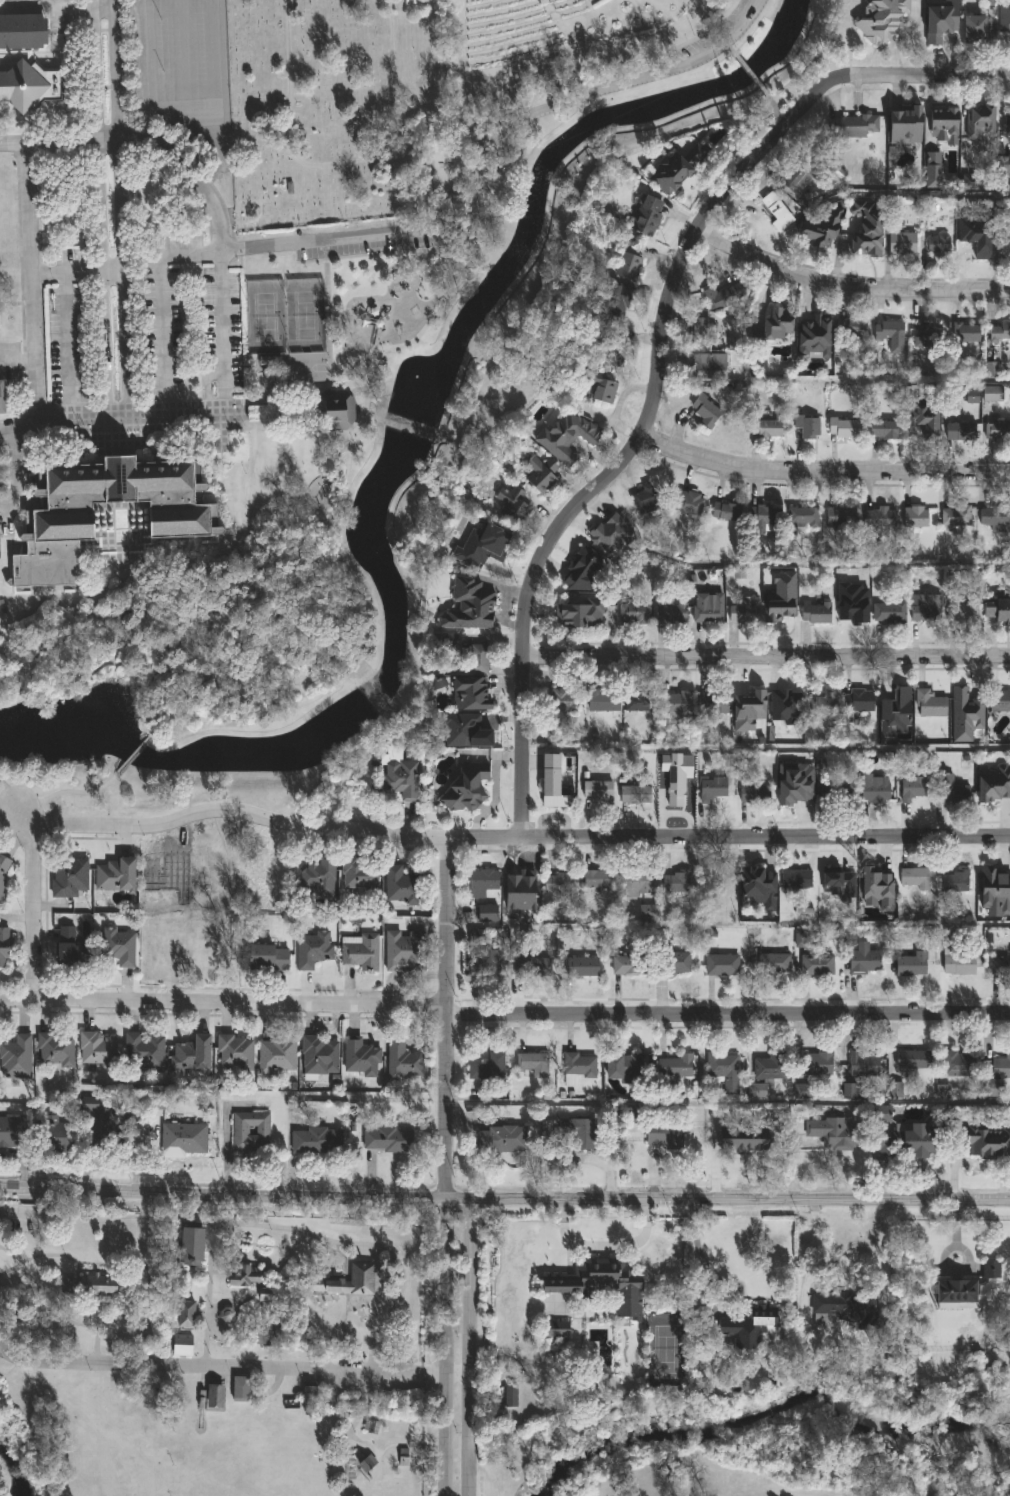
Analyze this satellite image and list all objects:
parking lot: (41, 3)
road: (62, 3)
road: (148, 4)
road: (45, 7)
road: (130, 9)
building: (882, 18)
building: (939, 19)
building: (1004, 19)
building: (976, 28)
building: (23, 31)
parking lot: (713, 33)
street lamp: (696, 41)
street lamp: (731, 42)
road: (728, 49)
road: (184, 56)
street lamp: (671, 63)
street lamp: (649, 66)
road: (93, 69)
road: (115, 69)
parking lot: (178, 70)
road: (747, 73)
building: (29, 85)
road: (549, 85)
road: (762, 92)
road: (770, 101)
park: (333, 107)
street lamp: (785, 112)
road: (779, 114)
park: (466, 119)
building: (979, 121)
street lamp: (776, 122)
building: (905, 124)
building: (943, 124)
building: (1006, 124)
building: (854, 126)
road: (194, 130)
road: (156, 142)
road: (12, 144)
road: (485, 152)
road: (728, 157)
parking lot: (476, 165)
building: (679, 165)
building: (1003, 165)
building: (931, 169)
park: (442, 170)
building: (797, 172)
street lamp: (494, 182)
building: (773, 205)
building: (644, 213)
building: (976, 226)
building: (821, 228)
building: (866, 230)
building: (901, 243)
building: (937, 244)
building: (1002, 244)
parking lot: (361, 250)
street lamp: (473, 256)
building: (627, 260)
road: (76, 272)
road: (102, 274)
road: (123, 276)
street lamp: (913, 281)
road: (845, 282)
building: (722, 295)
road: (32, 299)
road: (161, 299)
park: (304, 316)
park: (264, 317)
street lamp: (437, 319)
parking lot: (180, 321)
road: (220, 325)
building: (773, 325)
building: (849, 327)
road: (329, 329)
building: (887, 329)
building: (700, 332)
building: (999, 332)
building: (927, 333)
building: (965, 333)
building: (612, 334)
building: (813, 336)
street lamp: (344, 341)
road: (69, 342)
parking lot: (69, 346)
street lamp: (391, 353)
road: (657, 358)
parking lot: (13, 359)
road: (17, 362)
building: (704, 366)
park: (366, 367)
park: (292, 372)
fountain: (420, 382)
building: (596, 388)
building: (276, 390)
street lamp: (102, 393)
building: (991, 393)
building: (2, 397)
road: (198, 409)
building: (703, 410)
road: (145, 411)
road: (79, 412)
building: (328, 414)
building: (924, 418)
road: (375, 421)
street lamp: (245, 423)
street lamp: (183, 425)
street lamp: (225, 425)
street lamp: (152, 426)
street lamp: (166, 427)
building: (807, 427)
street lamp: (52, 428)
street lamp: (61, 428)
street lamp: (135, 428)
building: (765, 428)
building: (842, 428)
street lamp: (70, 429)
street lamp: (101, 429)
building: (882, 429)
building: (959, 430)
building: (997, 430)
road: (299, 431)
street lamp: (110, 432)
street lamp: (124, 432)
road: (228, 435)
street lamp: (246, 435)
building: (565, 435)
street lamp: (225, 448)
street lamp: (358, 448)
street lamp: (780, 454)
street lamp: (340, 457)
flagpole: (93, 460)
road: (820, 471)
road: (19, 473)
building: (538, 475)
parking lot: (17, 478)
street lamp: (970, 488)
building: (647, 497)
building: (688, 502)
building: (511, 504)
road: (146, 507)
building: (723, 511)
building: (915, 516)
building: (954, 516)
building: (802, 517)
building: (840, 517)
building: (879, 517)
building: (763, 518)
building: (994, 518)
building: (180, 519)
building: (609, 532)
building: (481, 540)
building: (498, 551)
road: (240, 565)
building: (590, 570)
road: (112, 584)
building: (780, 597)
building: (468, 606)
building: (706, 608)
building: (924, 608)
building: (853, 609)
building: (668, 610)
building: (743, 610)
building: (997, 610)
building: (814, 611)
building: (961, 611)
building: (888, 612)
building: (578, 613)
building: (632, 613)
road: (287, 644)
road: (350, 654)
road: (764, 656)
building: (478, 658)
building: (471, 694)
building: (639, 699)
building: (602, 700)
building: (561, 701)
building: (782, 701)
building: (858, 701)
building: (999, 701)
building: (712, 702)
building: (677, 703)
building: (820, 703)
building: (928, 704)
building: (749, 705)
building: (894, 711)
building: (966, 714)
road: (167, 722)
building: (470, 729)
road: (135, 753)
building: (675, 773)
building: (401, 775)
building: (551, 778)
building: (794, 779)
building: (994, 784)
building: (466, 787)
building: (710, 788)
building: (874, 788)
road: (495, 789)
building: (913, 789)
building: (950, 790)
road: (68, 791)
building: (596, 791)
building: (834, 791)
building: (634, 794)
building: (754, 794)
road: (675, 814)
road: (261, 817)
road: (88, 824)
road: (681, 837)
street lamp: (134, 839)
street lamp: (20, 848)
building: (3, 872)
building: (113, 874)
building: (358, 874)
building: (318, 877)
building: (68, 878)
building: (912, 878)
building: (518, 879)
building: (596, 879)
building: (795, 879)
building: (833, 879)
building: (717, 881)
building: (952, 881)
building: (674, 882)
building: (481, 883)
building: (556, 883)
building: (636, 883)
building: (400, 886)
building: (759, 886)
building: (876, 889)
building: (994, 890)
road: (32, 911)
building: (486, 913)
road: (442, 921)
building: (66, 946)
building: (117, 947)
building: (3, 948)
building: (402, 949)
building: (311, 950)
building: (358, 951)
building: (201, 954)
building: (267, 958)
building: (863, 959)
building: (483, 962)
building: (670, 963)
building: (772, 964)
building: (957, 964)
building: (627, 965)
building: (911, 965)
building: (1000, 965)
building: (529, 966)
building: (720, 966)
building: (816, 966)
building: (579, 968)
road: (220, 1002)
road: (724, 1017)
building: (96, 1049)
building: (55, 1050)
building: (143, 1051)
building: (234, 1051)
building: (191, 1053)
building: (275, 1054)
building: (318, 1055)
building: (359, 1057)
building: (15, 1058)
building: (912, 1060)
building: (402, 1061)
building: (816, 1064)
building: (862, 1064)
building: (957, 1064)
building: (531, 1065)
building: (769, 1066)
building: (486, 1067)
building: (576, 1067)
building: (623, 1067)
building: (675, 1067)
building: (723, 1070)
building: (998, 1074)
road: (443, 1102)
building: (632, 1124)
building: (110, 1129)
building: (576, 1129)
building: (249, 1130)
building: (174, 1131)
building: (12, 1132)
building: (742, 1132)
building: (834, 1133)
building: (663, 1134)
building: (987, 1135)
building: (58, 1136)
building: (498, 1139)
building: (315, 1140)
building: (386, 1140)
building: (907, 1141)
road: (222, 1193)
road: (727, 1198)
parking lot: (21, 1219)
road: (338, 1242)
building: (192, 1244)
road: (605, 1247)
road: (699, 1253)
road: (11, 1254)
road: (148, 1269)
building: (989, 1270)
building: (244, 1277)
building: (360, 1277)
building: (64, 1284)
building: (598, 1284)
building: (97, 1285)
road: (188, 1286)
building: (956, 1294)
building: (838, 1306)
building: (185, 1315)
building: (226, 1315)
building: (747, 1327)
building: (555, 1329)
road: (466, 1342)
building: (181, 1345)
road: (445, 1347)
park: (664, 1347)
park: (212, 1353)
road: (209, 1366)
road: (434, 1372)
building: (240, 1390)
building: (509, 1396)
building: (213, 1398)
building: (310, 1398)
railway: (200, 1404)
building: (368, 1426)
building: (366, 1464)

